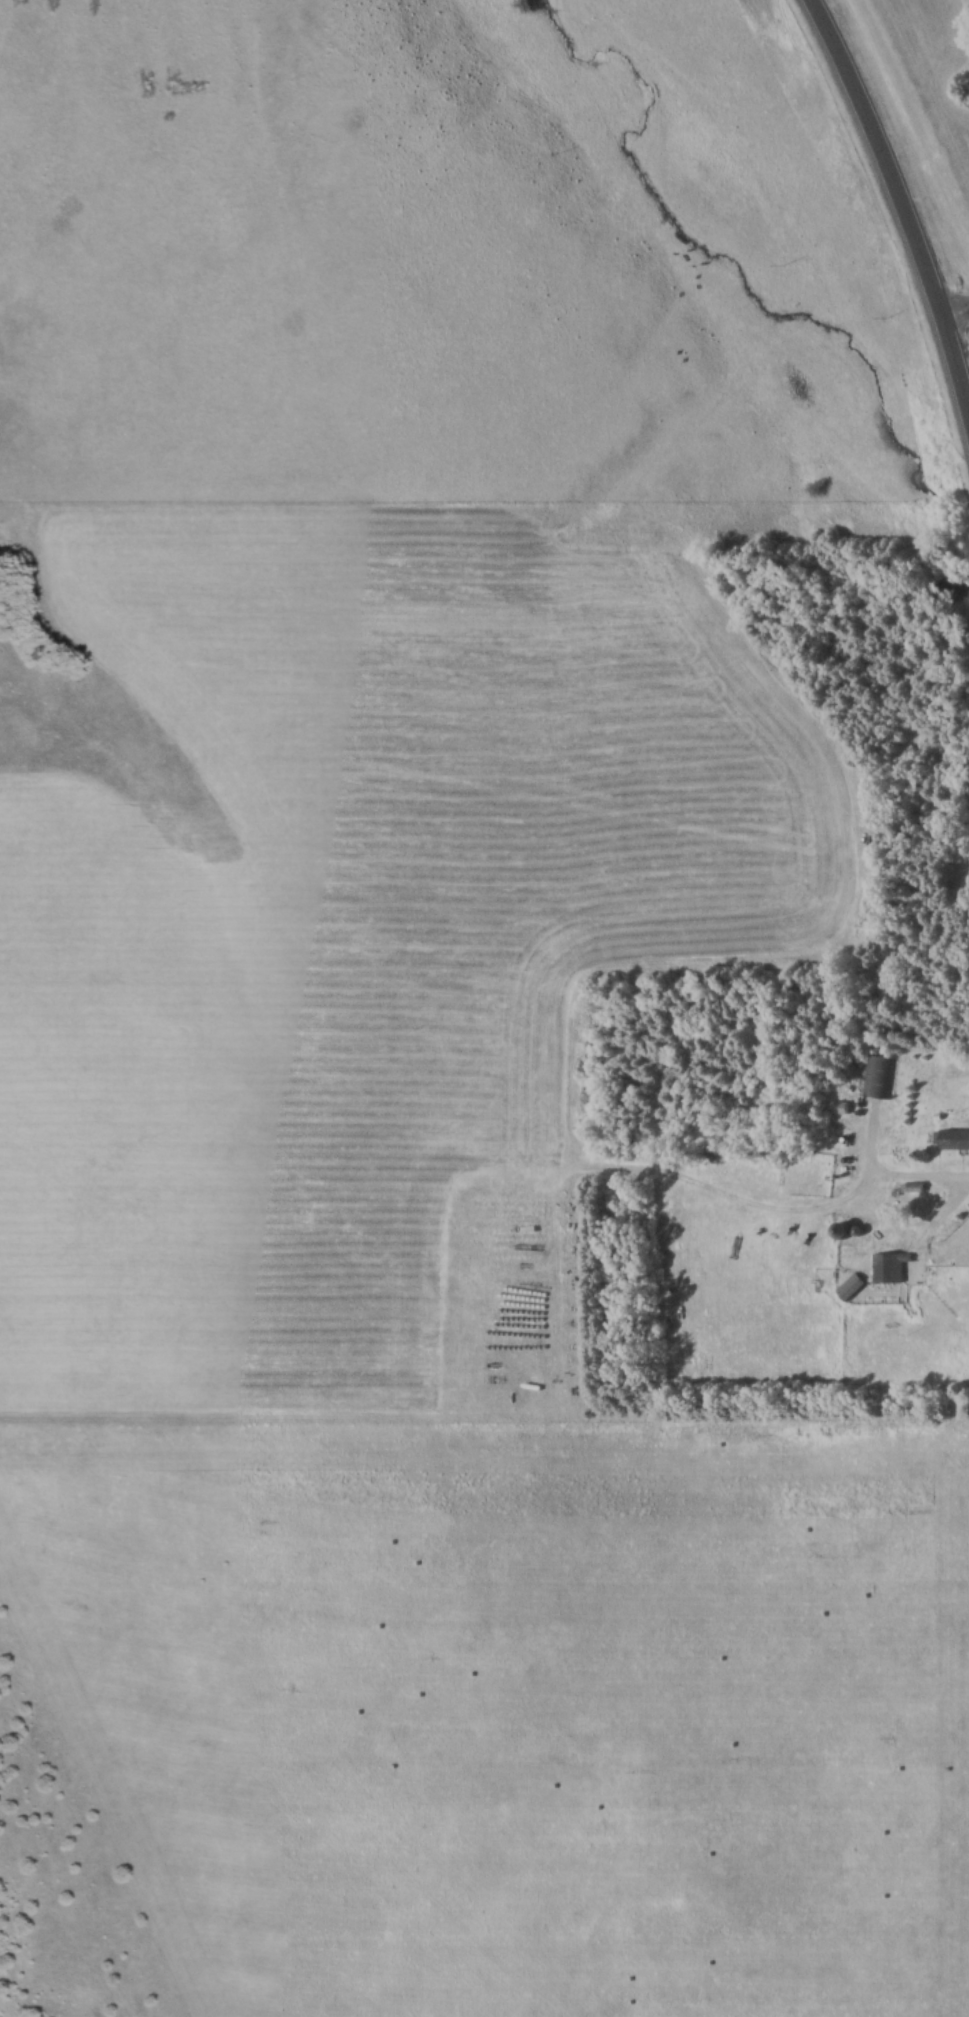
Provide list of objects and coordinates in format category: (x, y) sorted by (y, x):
road: (899, 197)
road: (957, 320)
building: (877, 1077)
building: (836, 1109)
building: (952, 1141)
road: (920, 1185)
building: (843, 1232)
building: (889, 1268)
building: (850, 1287)

